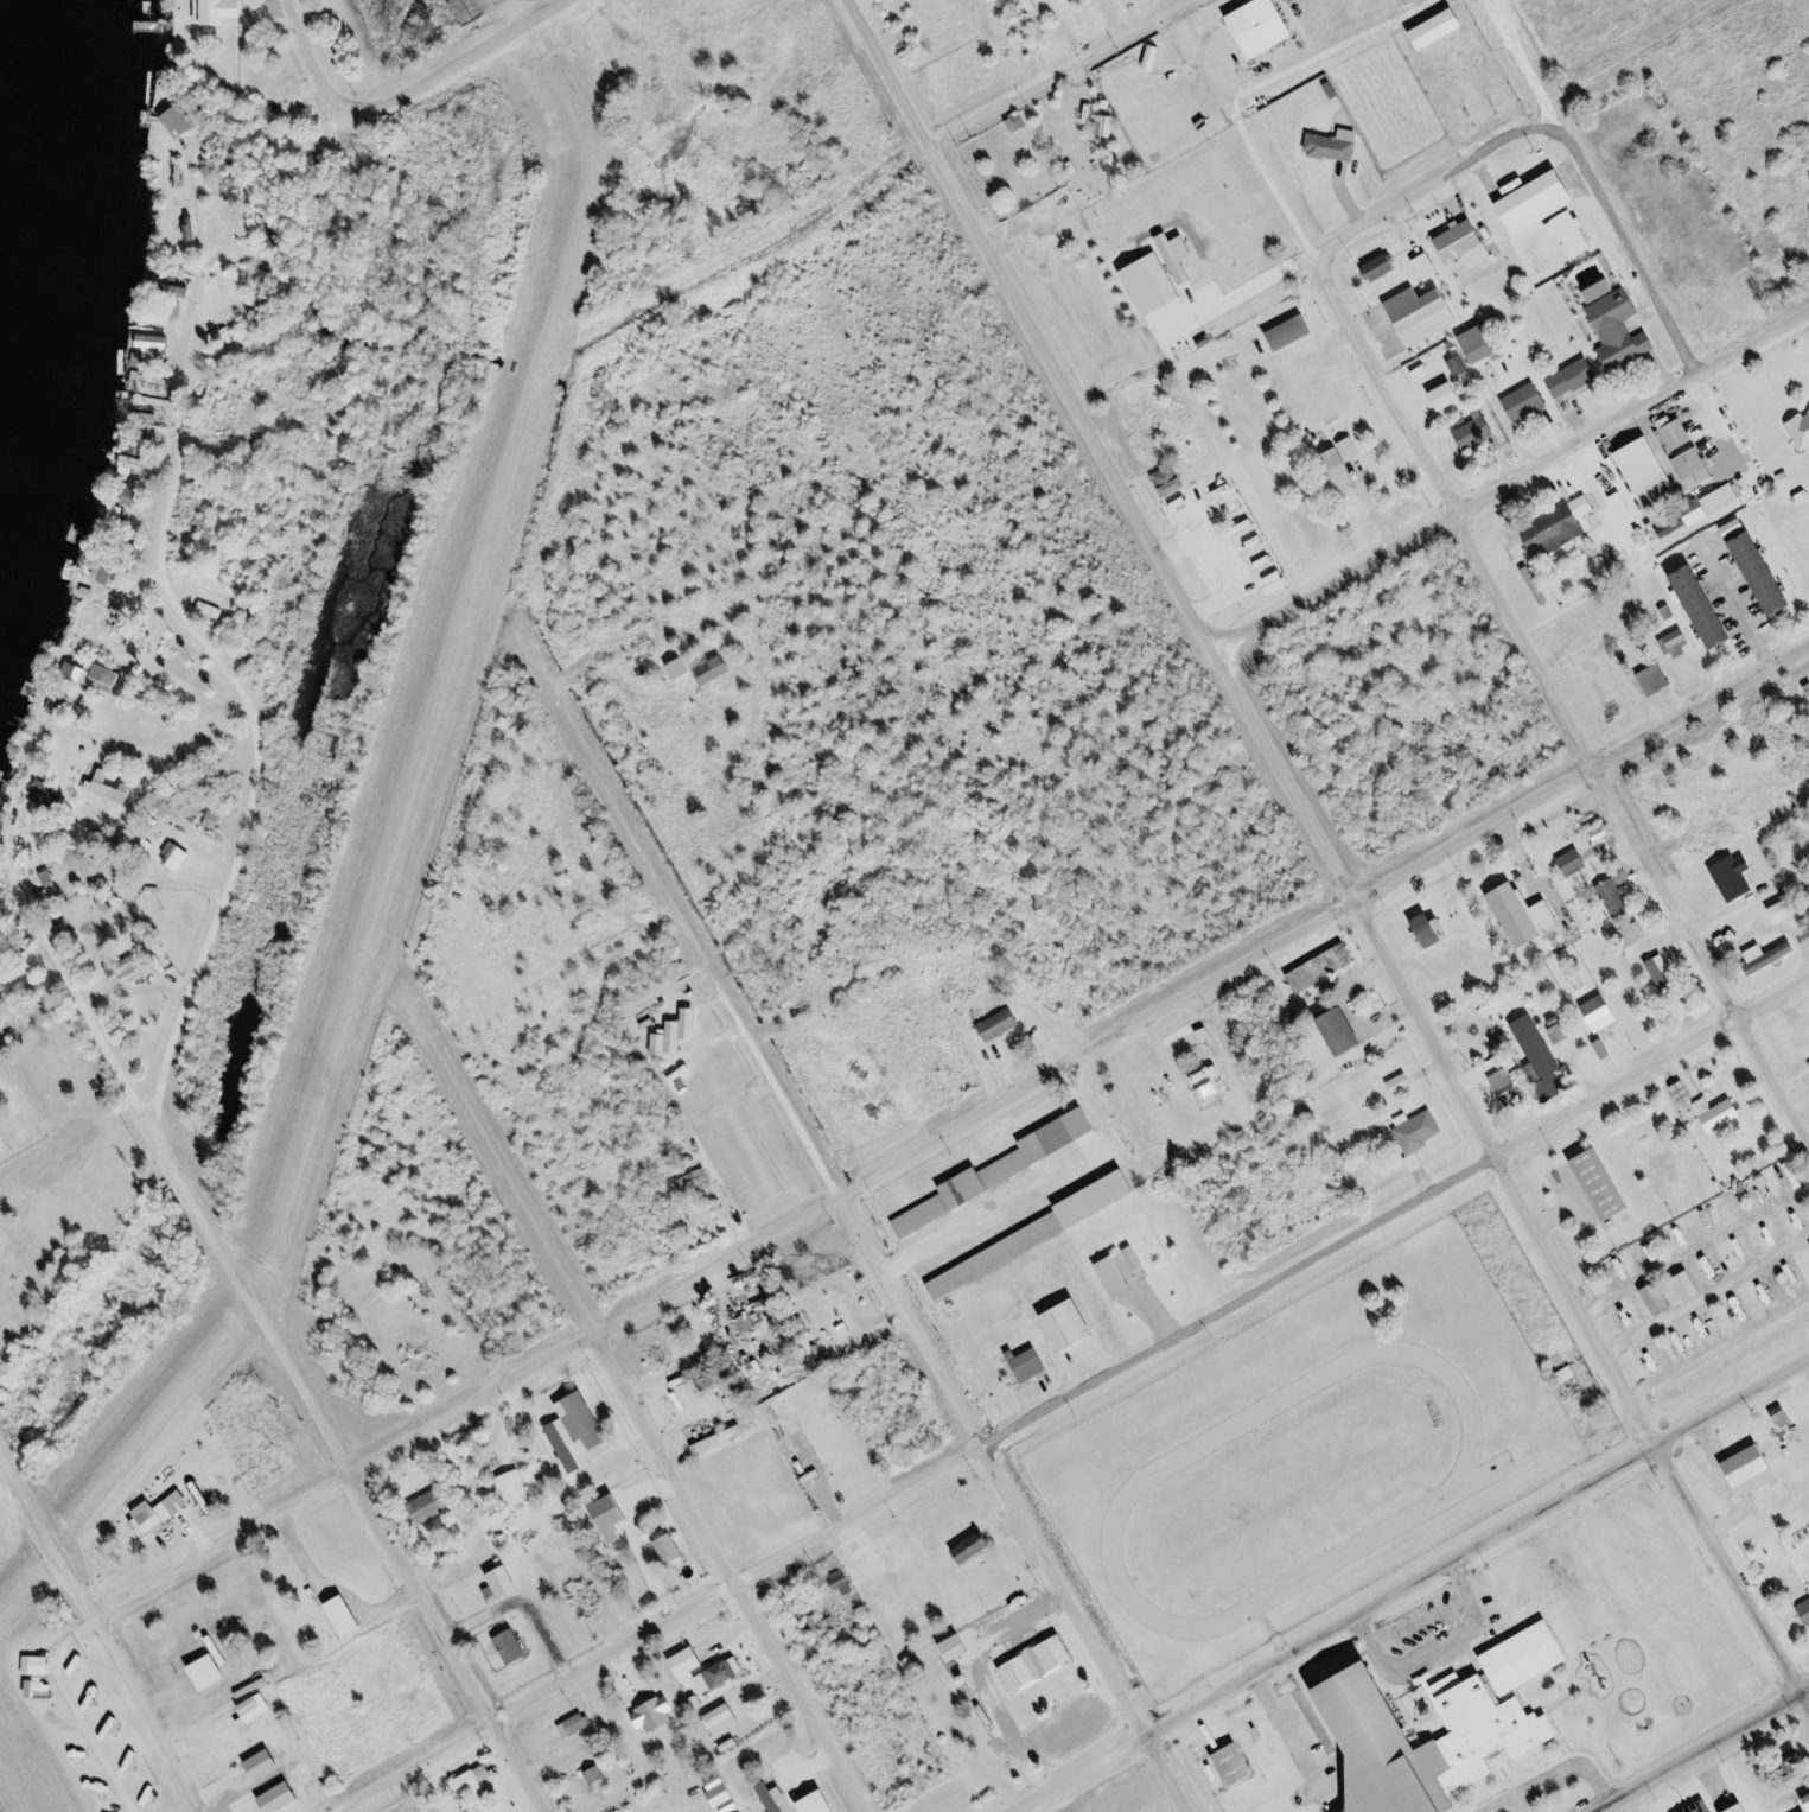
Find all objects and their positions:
building: (223, 11)
building: (1266, 26)
building: (1442, 28)
building: (1154, 57)
road: (885, 69)
road: (1052, 69)
road: (407, 94)
building: (181, 121)
building: (1019, 123)
building: (1108, 125)
building: (1336, 145)
building: (1539, 199)
river: (24, 230)
building: (1573, 234)
building: (1467, 244)
building: (1179, 255)
building: (1427, 265)
building: (1381, 267)
building: (181, 291)
building: (1601, 291)
building: (1423, 313)
building: (1622, 330)
building: (1293, 332)
building: (1484, 344)
building: (157, 346)
building: (1460, 365)
building: (1574, 377)
building: (1450, 395)
building: (1527, 402)
building: (1477, 431)
building: (1802, 431)
building: (1679, 432)
road: (179, 440)
building: (1351, 447)
building: (141, 449)
building: (138, 465)
building: (1343, 472)
building: (1651, 475)
building: (1170, 481)
road: (1515, 482)
building: (136, 492)
building: (1623, 503)
building: (1713, 504)
building: (1560, 527)
building: (1737, 527)
building: (110, 573)
building: (1767, 573)
building: (1708, 608)
road: (1739, 609)
building: (211, 610)
building: (1676, 643)
building: (682, 669)
building: (720, 670)
building: (96, 676)
building: (1808, 686)
building: (60, 704)
road: (172, 735)
building: (112, 788)
road: (1294, 789)
building: (46, 795)
building: (5, 822)
road: (1632, 833)
building: (1601, 835)
building: (177, 857)
building: (1575, 863)
building: (1737, 877)
building: (50, 878)
building: (1616, 898)
building: (1788, 910)
building: (1527, 916)
building: (1433, 930)
building: (1633, 934)
building: (1770, 956)
building: (126, 968)
building: (1323, 968)
building: (1663, 973)
road: (68, 984)
building: (1604, 1013)
building: (1001, 1025)
building: (1345, 1032)
building: (677, 1034)
building: (1560, 1034)
building: (1542, 1060)
road: (1651, 1064)
building: (1402, 1083)
building: (1209, 1092)
building: (1684, 1093)
building: (1720, 1114)
road: (951, 1132)
building: (1418, 1134)
building: (1060, 1137)
building: (695, 1182)
building: (1605, 1185)
building: (966, 1193)
building: (1100, 1200)
building: (999, 1257)
building: (1139, 1264)
building: (1119, 1278)
road: (234, 1279)
building: (1686, 1288)
building: (1660, 1299)
road: (1237, 1301)
building: (746, 1323)
building: (1074, 1327)
building: (1031, 1365)
road: (935, 1366)
building: (1569, 1375)
building: (1782, 1416)
building: (588, 1423)
building: (721, 1439)
building: (567, 1445)
building: (1754, 1470)
track: (1483, 1477)
track: (1291, 1487)
building: (512, 1489)
building: (431, 1506)
building: (161, 1514)
building: (613, 1518)
building: (976, 1547)
building: (671, 1551)
road: (730, 1573)
railway: (1387, 1573)
building: (841, 1579)
road: (1408, 1584)
road: (1728, 1585)
building: (1805, 1607)
building: (348, 1616)
building: (817, 1623)
road: (655, 1628)
road: (102, 1629)
building: (514, 1647)
building: (958, 1647)
building: (1529, 1658)
building: (689, 1662)
building: (1040, 1662)
building: (39, 1665)
building: (913, 1665)
building: (211, 1672)
building: (721, 1674)
building: (34, 1689)
building: (698, 1703)
building: (257, 1708)
building: (657, 1715)
building: (725, 1719)
building: (575, 1727)
building: (1508, 1736)
road: (1695, 1747)
building: (266, 1765)
building: (1238, 1765)
building: (1505, 1766)
building: (1796, 1766)
road: (1164, 1773)
building: (597, 1776)
road: (1552, 1778)
building: (480, 1786)
building: (724, 1794)
building: (775, 1797)
building: (284, 1798)
building: (822, 1803)
building: (1703, 1807)
building: (1746, 1808)

